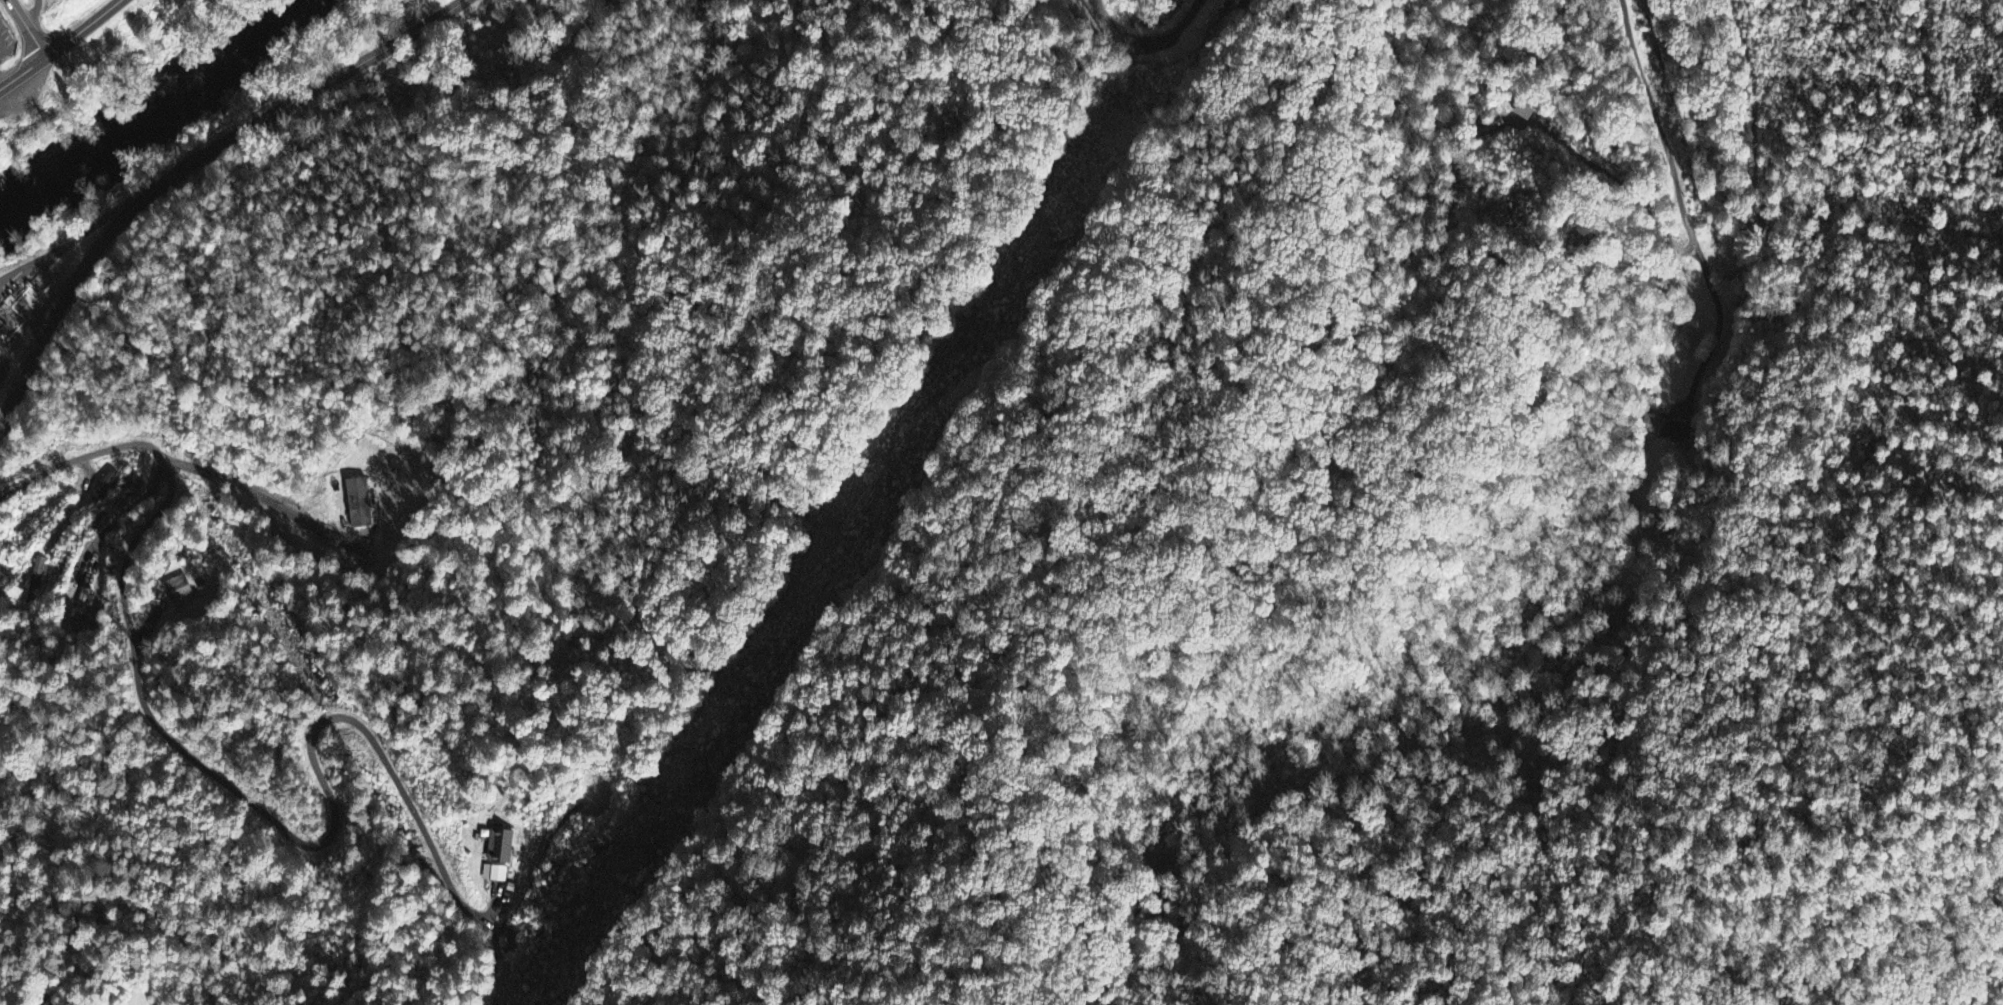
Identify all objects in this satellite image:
road: (24, 30)
road: (59, 45)
building: (1528, 109)
river: (147, 110)
road: (1668, 137)
road: (182, 168)
road: (119, 209)
road: (51, 249)
power tower: (1029, 257)
wastewater plant: (39, 276)
building: (1666, 430)
power tower: (906, 439)
building: (103, 484)
building: (361, 504)
building: (4, 541)
building: (35, 578)
building: (175, 587)
building: (81, 606)
power tower: (758, 663)
road: (215, 777)
building: (500, 844)
building: (495, 875)
power tower: (610, 888)

